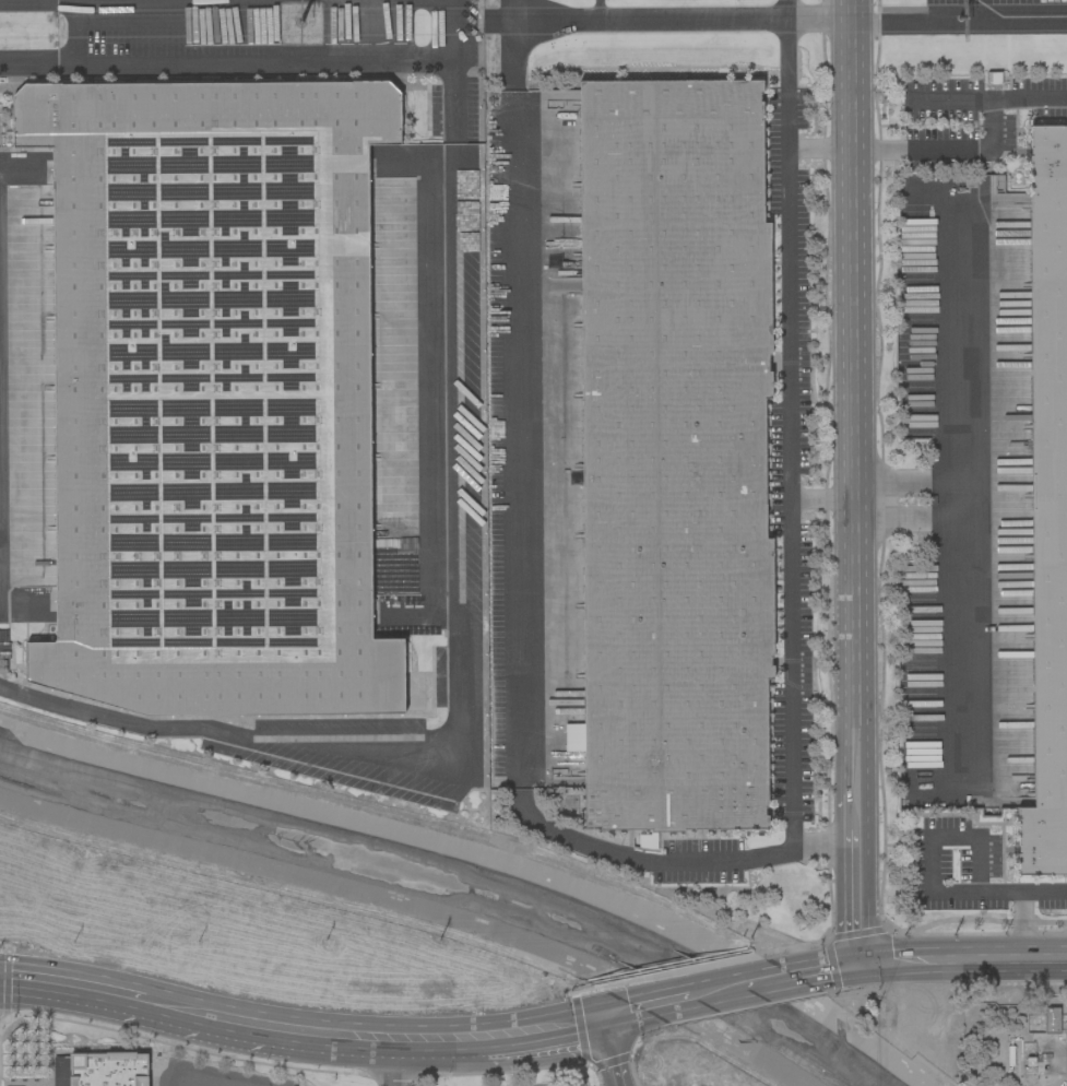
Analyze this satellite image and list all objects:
road: (224, 2)
road: (450, 2)
road: (982, 10)
road: (959, 21)
road: (819, 22)
power tower: (958, 24)
power tower: (301, 25)
road: (652, 25)
road: (248, 58)
road: (950, 98)
road: (986, 151)
road: (820, 152)
building: (210, 396)
road: (956, 396)
building: (673, 458)
road: (855, 480)
road: (823, 499)
building: (1047, 507)
road: (960, 645)
road: (451, 688)
road: (674, 862)
road: (980, 892)
road: (1021, 902)
road: (962, 959)
traffic signals: (859, 960)
road: (833, 966)
road: (776, 978)
road: (718, 992)
road: (70, 993)
road: (665, 1005)
road: (620, 1018)
building: (1051, 1019)
road: (215, 1023)
traffic signals: (601, 1026)
road: (562, 1032)
road: (503, 1042)
wastewater plant: (1012, 1042)
road: (386, 1048)
road: (607, 1055)
road: (390, 1067)
building: (107, 1070)
road: (186, 1081)

